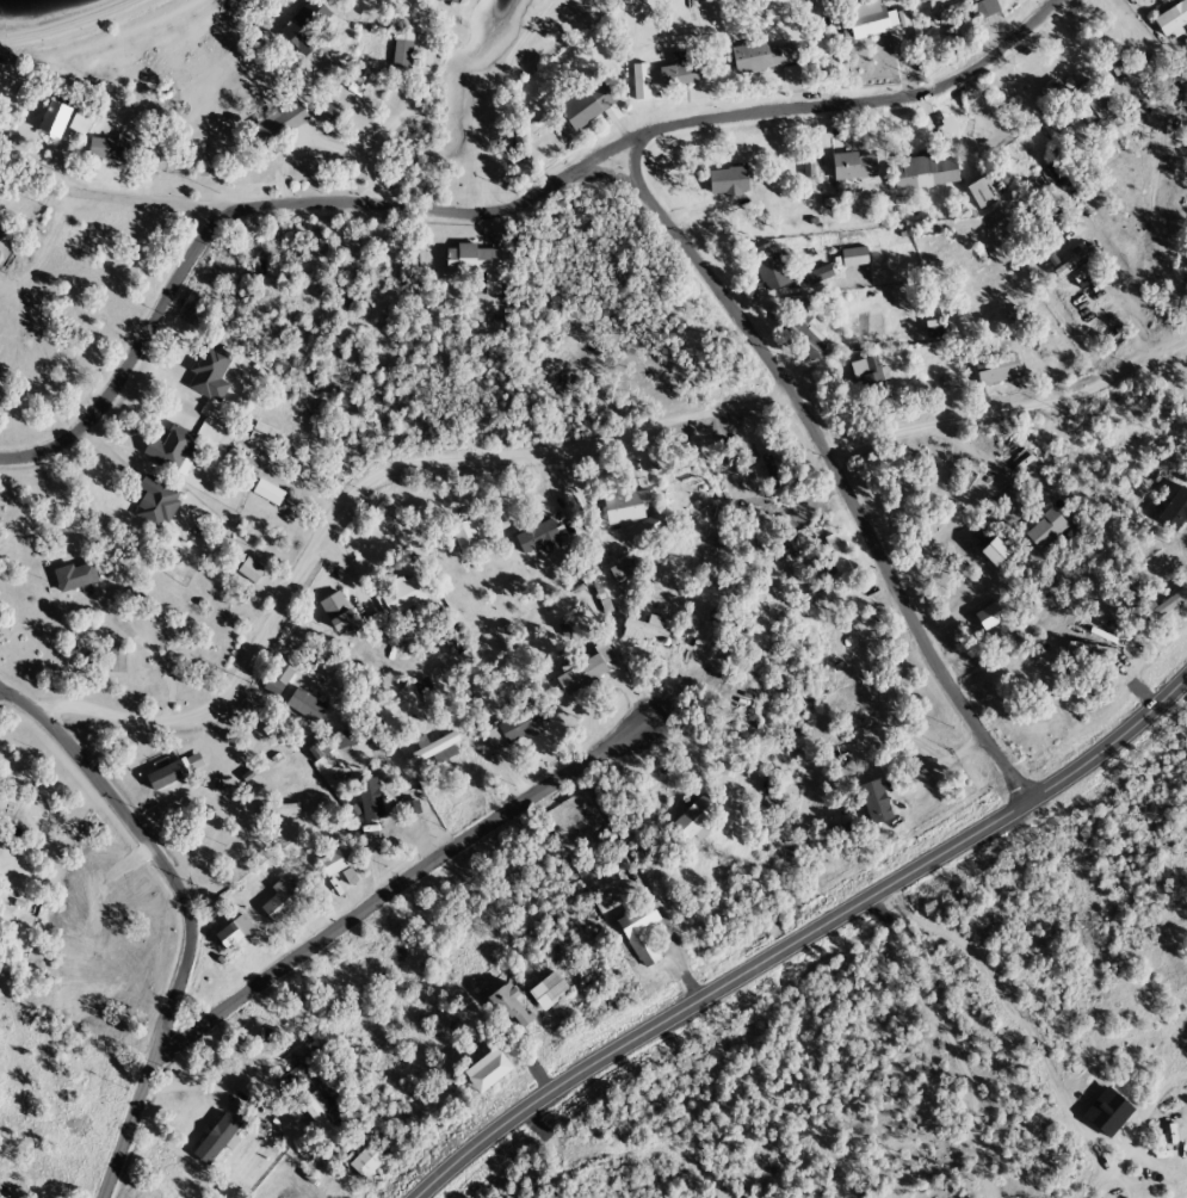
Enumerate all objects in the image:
building: (982, 8)
building: (948, 13)
building: (1173, 20)
building: (868, 24)
building: (307, 27)
building: (958, 33)
building: (403, 47)
building: (762, 57)
building: (681, 72)
building: (639, 82)
road: (366, 98)
building: (1077, 100)
building: (587, 107)
building: (330, 113)
building: (54, 116)
building: (284, 122)
building: (80, 124)
building: (109, 149)
building: (854, 167)
building: (925, 173)
building: (728, 181)
road: (138, 196)
road: (487, 214)
building: (1, 231)
building: (474, 260)
building: (1076, 263)
building: (771, 268)
building: (803, 334)
building: (999, 371)
building: (211, 373)
building: (871, 379)
road: (1012, 408)
building: (264, 437)
building: (173, 450)
road: (1035, 457)
road: (829, 468)
road: (357, 483)
building: (157, 504)
building: (629, 507)
building: (647, 530)
building: (1047, 532)
building: (540, 539)
building: (993, 550)
building: (840, 561)
building: (251, 572)
building: (623, 573)
building: (75, 578)
building: (403, 595)
building: (1166, 609)
building: (330, 613)
building: (990, 617)
building: (1092, 652)
building: (117, 661)
building: (586, 671)
building: (278, 680)
road: (6, 694)
building: (307, 708)
road: (650, 710)
building: (524, 727)
building: (437, 751)
building: (699, 819)
building: (333, 864)
building: (282, 901)
road: (360, 904)
road: (183, 915)
building: (235, 933)
building: (642, 937)
road: (799, 937)
building: (551, 993)
building: (514, 1009)
building: (489, 1074)
road: (1130, 1132)
building: (365, 1165)

